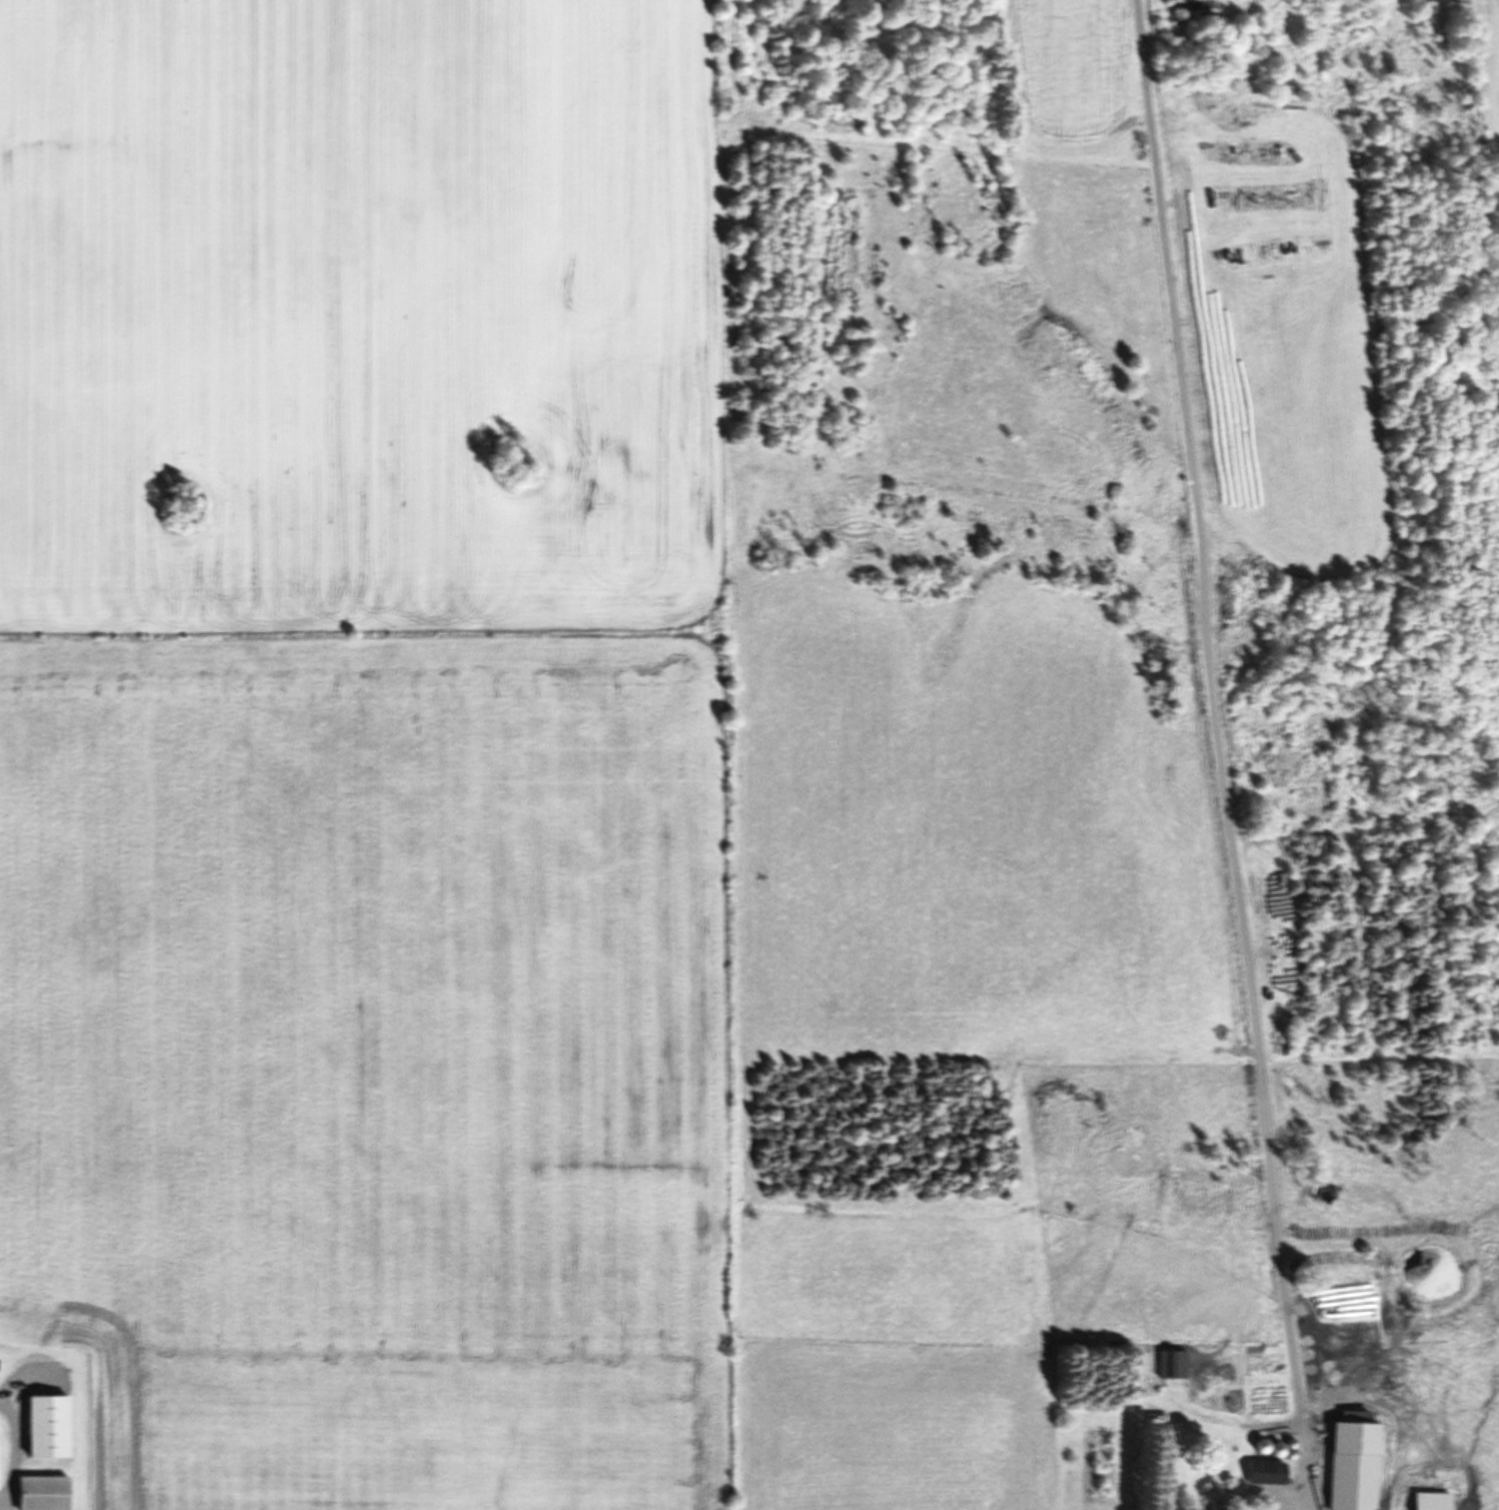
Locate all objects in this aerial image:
building: (1171, 1363)
building: (46, 1426)
building: (1268, 1448)
building: (1352, 1461)
building: (1265, 1471)
building: (41, 1492)
building: (1421, 1507)

